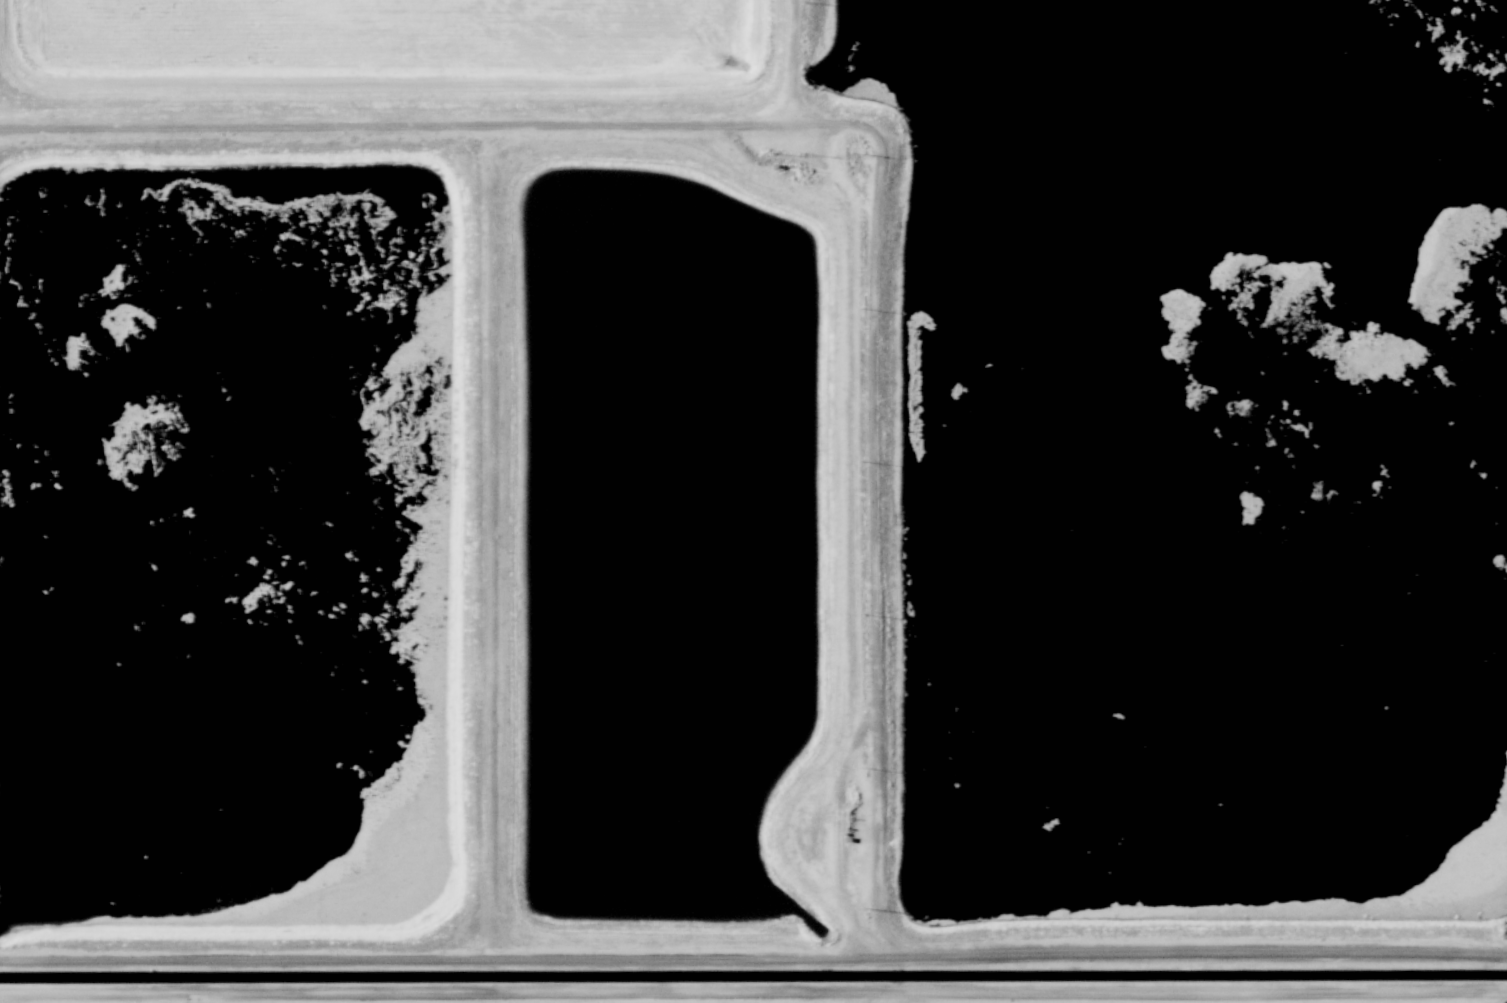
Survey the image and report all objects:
wastewater plant: (364, 34)
road: (796, 59)
road: (752, 119)
road: (242, 128)
wastewater plant: (1207, 446)
wastewater plant: (753, 501)
wastewater plant: (231, 532)
wastewater plant: (673, 535)
road: (680, 952)
road: (436, 988)
road: (1185, 991)

